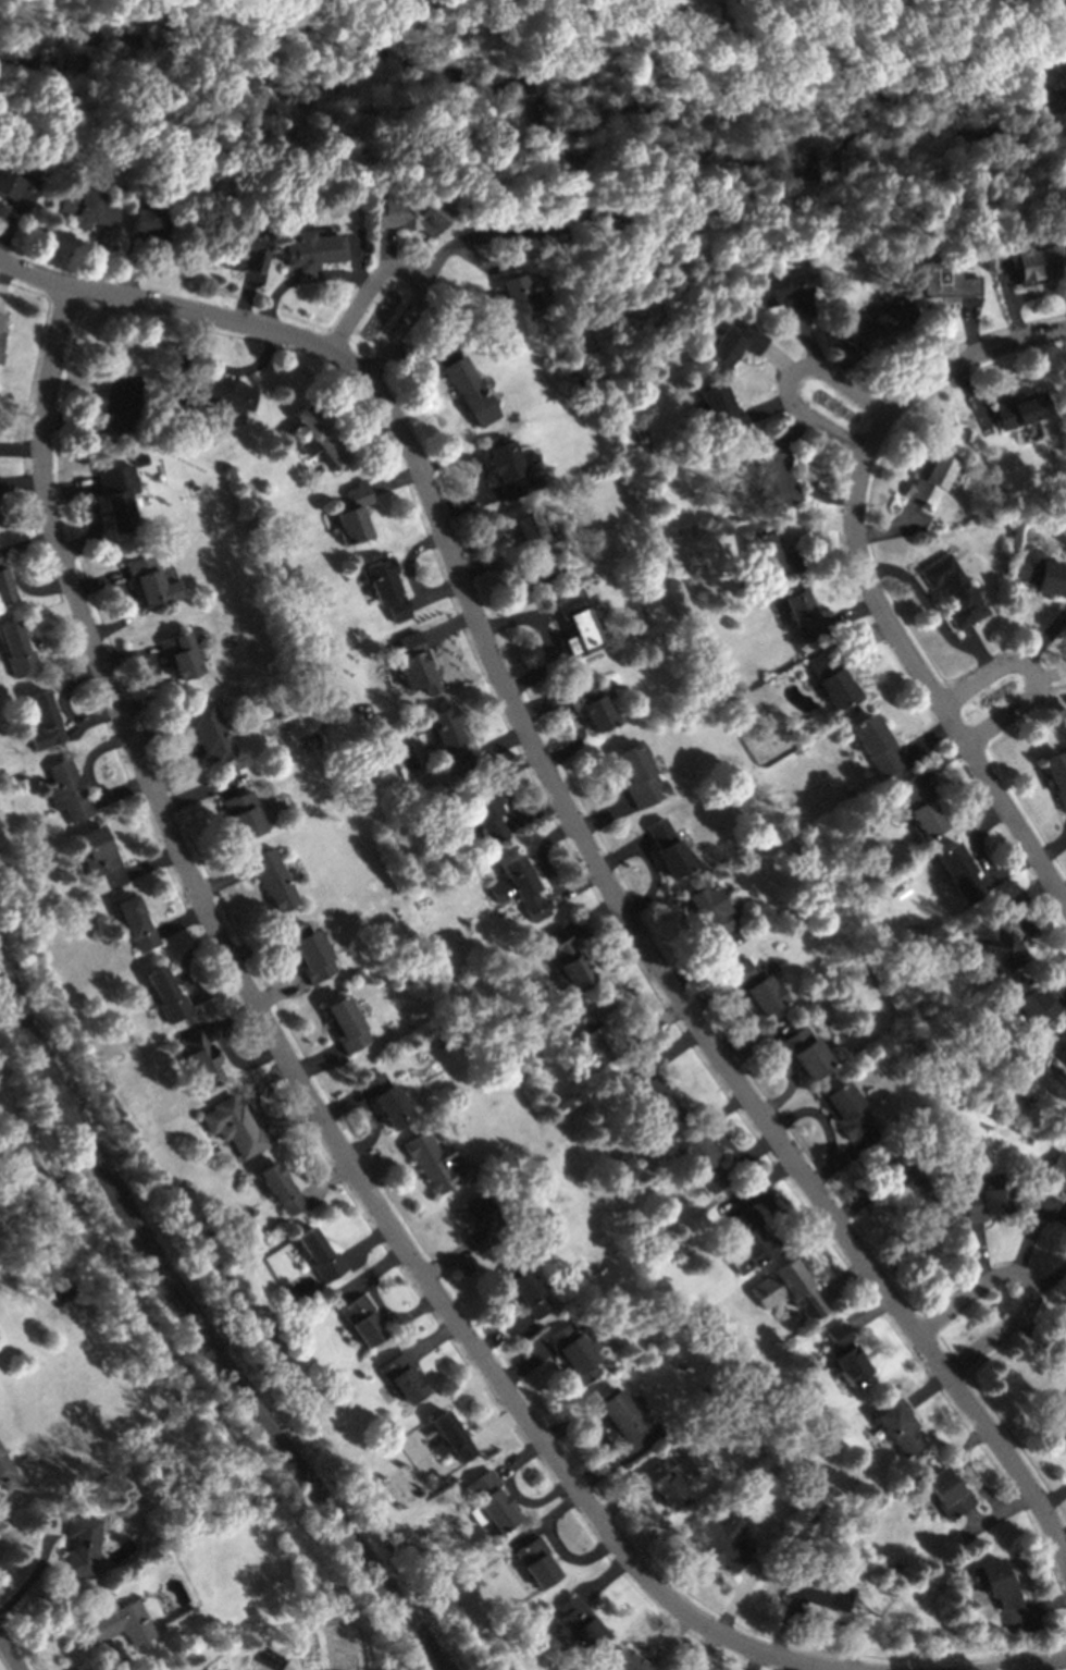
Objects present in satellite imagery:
building: (1053, 22)
building: (707, 40)
building: (17, 188)
building: (84, 205)
building: (412, 214)
building: (566, 219)
building: (146, 224)
road: (8, 228)
road: (501, 234)
building: (249, 248)
road: (386, 248)
building: (310, 253)
road: (97, 258)
road: (356, 258)
building: (1039, 261)
road: (128, 268)
road: (17, 269)
road: (1004, 269)
road: (408, 271)
road: (342, 275)
road: (3, 277)
building: (942, 278)
road: (1036, 292)
building: (784, 293)
road: (274, 295)
road: (245, 297)
road: (1007, 302)
building: (516, 305)
building: (1, 319)
building: (879, 323)
road: (968, 326)
building: (1, 335)
road: (808, 343)
building: (731, 344)
road: (420, 353)
road: (189, 354)
building: (1, 356)
road: (778, 358)
road: (842, 359)
road: (949, 366)
road: (238, 371)
road: (786, 377)
building: (468, 393)
building: (226, 395)
building: (119, 397)
road: (969, 398)
road: (766, 408)
building: (716, 410)
building: (1018, 410)
road: (82, 428)
road: (370, 429)
road: (791, 430)
building: (318, 435)
road: (20, 447)
road: (466, 456)
building: (506, 468)
road: (808, 477)
building: (771, 478)
building: (929, 478)
road: (395, 481)
building: (537, 481)
road: (21, 482)
road: (70, 489)
building: (119, 496)
road: (467, 503)
building: (354, 515)
road: (25, 519)
road: (94, 527)
road: (816, 527)
road: (889, 529)
building: (536, 539)
road: (27, 544)
building: (770, 554)
road: (408, 557)
road: (510, 564)
building: (1041, 574)
road: (99, 581)
building: (150, 581)
building: (4, 587)
road: (28, 587)
building: (386, 590)
building: (952, 590)
road: (435, 593)
road: (925, 601)
road: (852, 613)
road: (127, 614)
building: (803, 616)
road: (515, 619)
building: (577, 624)
road: (447, 625)
road: (1046, 638)
road: (865, 639)
road: (65, 649)
road: (978, 650)
building: (16, 651)
building: (179, 652)
road: (127, 656)
road: (547, 659)
building: (416, 664)
road: (1033, 670)
road: (1051, 674)
building: (833, 679)
road: (66, 686)
road: (928, 688)
road: (151, 689)
road: (1049, 696)
road: (544, 704)
building: (593, 704)
road: (90, 717)
building: (44, 722)
road: (159, 730)
building: (210, 732)
road: (578, 735)
building: (449, 739)
road: (925, 740)
road: (498, 744)
building: (875, 745)
road: (88, 759)
road: (942, 761)
road: (193, 762)
building: (640, 776)
building: (1056, 777)
road: (505, 781)
road: (226, 788)
building: (69, 790)
road: (121, 790)
road: (200, 790)
building: (918, 809)
building: (486, 812)
road: (953, 812)
road: (533, 813)
building: (245, 814)
road: (603, 815)
road: (975, 838)
road: (585, 844)
road: (1051, 849)
building: (669, 850)
building: (99, 851)
road: (622, 852)
road: (541, 854)
building: (1, 856)
road: (144, 867)
road: (1007, 868)
building: (960, 873)
building: (273, 879)
road: (223, 882)
road: (655, 882)
building: (519, 888)
road: (573, 888)
road: (1062, 892)
road: (1020, 897)
building: (708, 911)
road: (592, 917)
road: (1017, 918)
road: (183, 922)
building: (136, 923)
building: (993, 945)
road: (273, 947)
building: (311, 951)
road: (186, 960)
road: (703, 960)
building: (568, 963)
road: (604, 965)
road: (1044, 973)
road: (215, 987)
building: (756, 987)
road: (281, 991)
road: (708, 993)
building: (168, 995)
road: (1063, 997)
building: (1030, 1002)
road: (743, 1018)
building: (345, 1024)
road: (204, 1026)
road: (215, 1030)
road: (643, 1033)
building: (595, 1034)
building: (1064, 1037)
road: (758, 1041)
building: (438, 1044)
road: (227, 1049)
road: (667, 1052)
building: (806, 1054)
building: (1064, 1055)
building: (202, 1059)
building: (1065, 1061)
road: (317, 1063)
road: (290, 1067)
road: (793, 1077)
road: (255, 1093)
building: (387, 1101)
building: (655, 1103)
road: (342, 1104)
building: (846, 1110)
road: (820, 1116)
road: (289, 1121)
road: (716, 1125)
building: (234, 1127)
road: (373, 1129)
road: (751, 1154)
building: (436, 1162)
building: (702, 1162)
road: (839, 1162)
road: (382, 1167)
building: (1057, 1170)
road: (327, 1180)
road: (758, 1186)
building: (904, 1187)
building: (281, 1189)
building: (989, 1200)
road: (858, 1203)
building: (64, 1206)
road: (785, 1219)
building: (481, 1221)
building: (1063, 1223)
road: (1033, 1228)
building: (748, 1241)
road: (368, 1243)
road: (981, 1254)
building: (321, 1255)
road: (447, 1261)
road: (462, 1261)
road: (371, 1273)
road: (846, 1280)
road: (1051, 1280)
road: (1029, 1281)
building: (789, 1289)
building: (528, 1292)
road: (871, 1310)
road: (394, 1316)
building: (363, 1321)
road: (522, 1328)
railway: (204, 1330)
road: (501, 1333)
road: (1043, 1336)
road: (435, 1339)
building: (573, 1353)
building: (846, 1354)
road: (524, 1366)
building: (404, 1377)
road: (928, 1389)
building: (617, 1414)
building: (1059, 1415)
road: (588, 1422)
road: (498, 1427)
building: (900, 1427)
building: (451, 1438)
building: (755, 1449)
road: (522, 1457)
road: (620, 1457)
building: (801, 1462)
building: (380, 1465)
building: (7, 1472)
road: (969, 1472)
building: (667, 1484)
park: (402, 1486)
building: (947, 1493)
road: (1053, 1497)
road: (621, 1501)
building: (491, 1502)
road: (532, 1502)
road: (999, 1513)
road: (549, 1518)
road: (974, 1518)
road: (1062, 1536)
building: (179, 1540)
building: (722, 1542)
building: (82, 1547)
building: (397, 1548)
road: (573, 1557)
building: (537, 1562)
road: (40, 1567)
building: (895, 1568)
road: (747, 1570)
road: (606, 1579)
building: (995, 1584)
building: (345, 1586)
building: (819, 1592)
road: (740, 1595)
road: (1038, 1608)
building: (123, 1623)
building: (582, 1623)
road: (838, 1623)
road: (785, 1630)
road: (671, 1640)
park: (342, 1647)
road: (706, 1650)
road: (11, 1653)
road: (755, 1660)
road: (115, 1662)
building: (629, 1662)
road: (1029, 1663)
building: (308, 1668)
road: (807, 1668)

